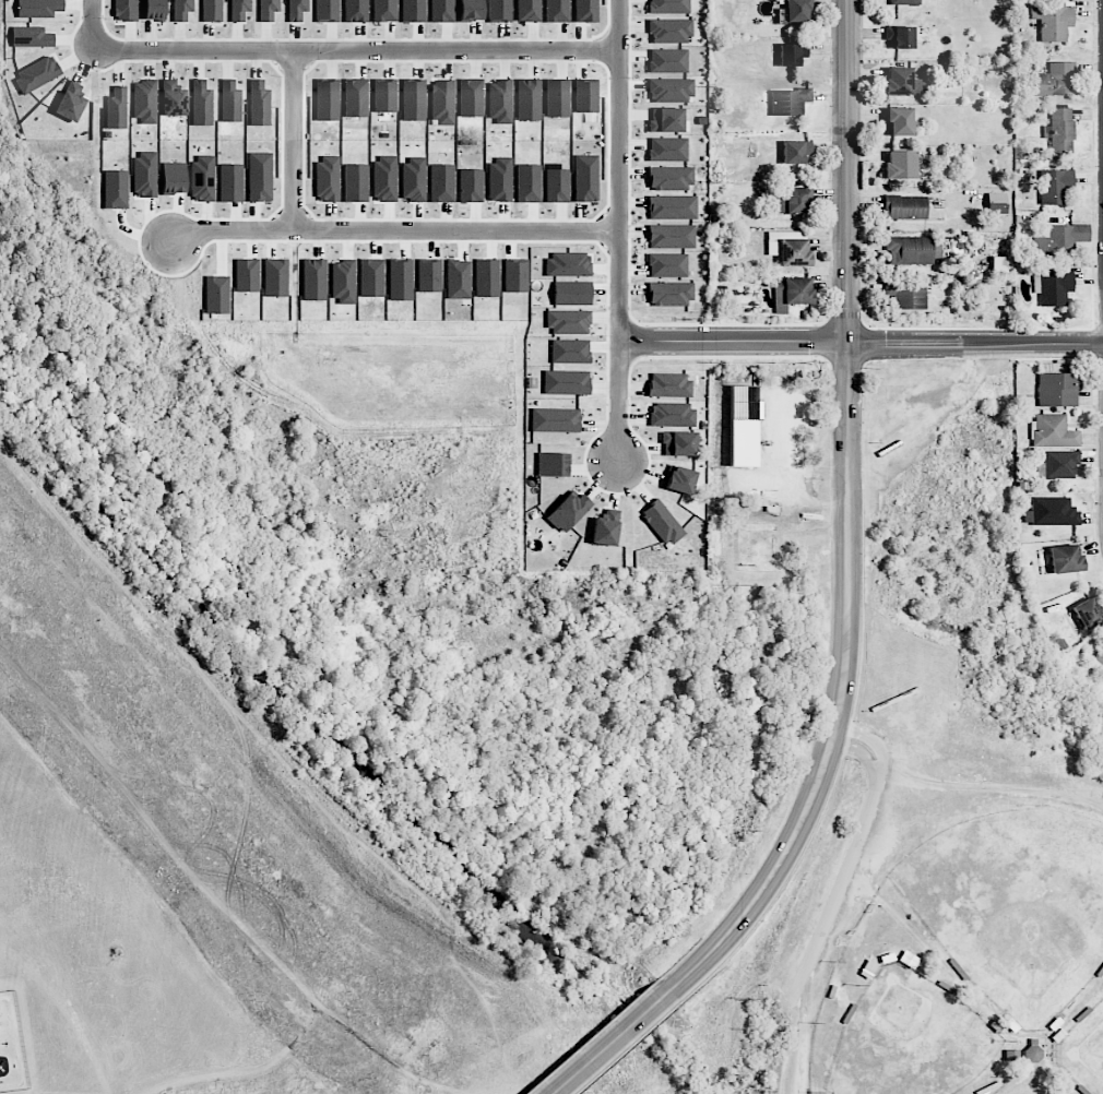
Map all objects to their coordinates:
building: (904, 2)
building: (668, 7)
building: (38, 8)
building: (239, 9)
building: (471, 9)
building: (126, 10)
building: (154, 10)
building: (182, 10)
building: (212, 10)
building: (268, 10)
building: (297, 10)
building: (327, 10)
building: (355, 10)
building: (383, 10)
building: (557, 11)
building: (586, 11)
building: (797, 11)
building: (1054, 22)
road: (92, 24)
building: (669, 31)
building: (32, 37)
building: (900, 37)
road: (355, 49)
building: (792, 53)
building: (668, 61)
building: (37, 74)
building: (1055, 80)
building: (902, 82)
building: (671, 90)
building: (386, 93)
building: (173, 98)
building: (356, 98)
building: (327, 99)
building: (144, 100)
building: (71, 102)
building: (230, 102)
building: (790, 102)
building: (201, 103)
building: (442, 103)
building: (260, 104)
building: (116, 108)
building: (666, 119)
building: (899, 121)
road: (293, 139)
building: (667, 150)
building: (796, 151)
building: (900, 165)
road: (849, 171)
building: (585, 177)
building: (671, 178)
building: (441, 182)
building: (527, 182)
building: (471, 186)
building: (1055, 186)
building: (116, 189)
building: (793, 201)
building: (672, 207)
building: (905, 207)
road: (398, 228)
road: (618, 231)
building: (672, 236)
building: (1060, 241)
building: (913, 250)
building: (792, 252)
building: (667, 265)
building: (515, 276)
building: (486, 277)
building: (458, 278)
building: (1055, 287)
building: (791, 293)
building: (669, 294)
building: (906, 295)
building: (569, 322)
road: (733, 341)
road: (975, 345)
building: (570, 352)
building: (566, 382)
building: (668, 385)
building: (1058, 390)
building: (672, 414)
building: (555, 420)
building: (1053, 431)
building: (679, 443)
building: (1058, 465)
road: (823, 468)
road: (802, 475)
building: (680, 479)
building: (568, 511)
building: (1054, 512)
building: (662, 523)
building: (606, 527)
building: (1065, 559)
building: (1088, 613)
building: (1099, 657)
road: (840, 699)
road: (873, 739)
road: (861, 751)
road: (831, 903)
road: (608, 1046)
building: (1033, 1054)
road: (803, 1061)

